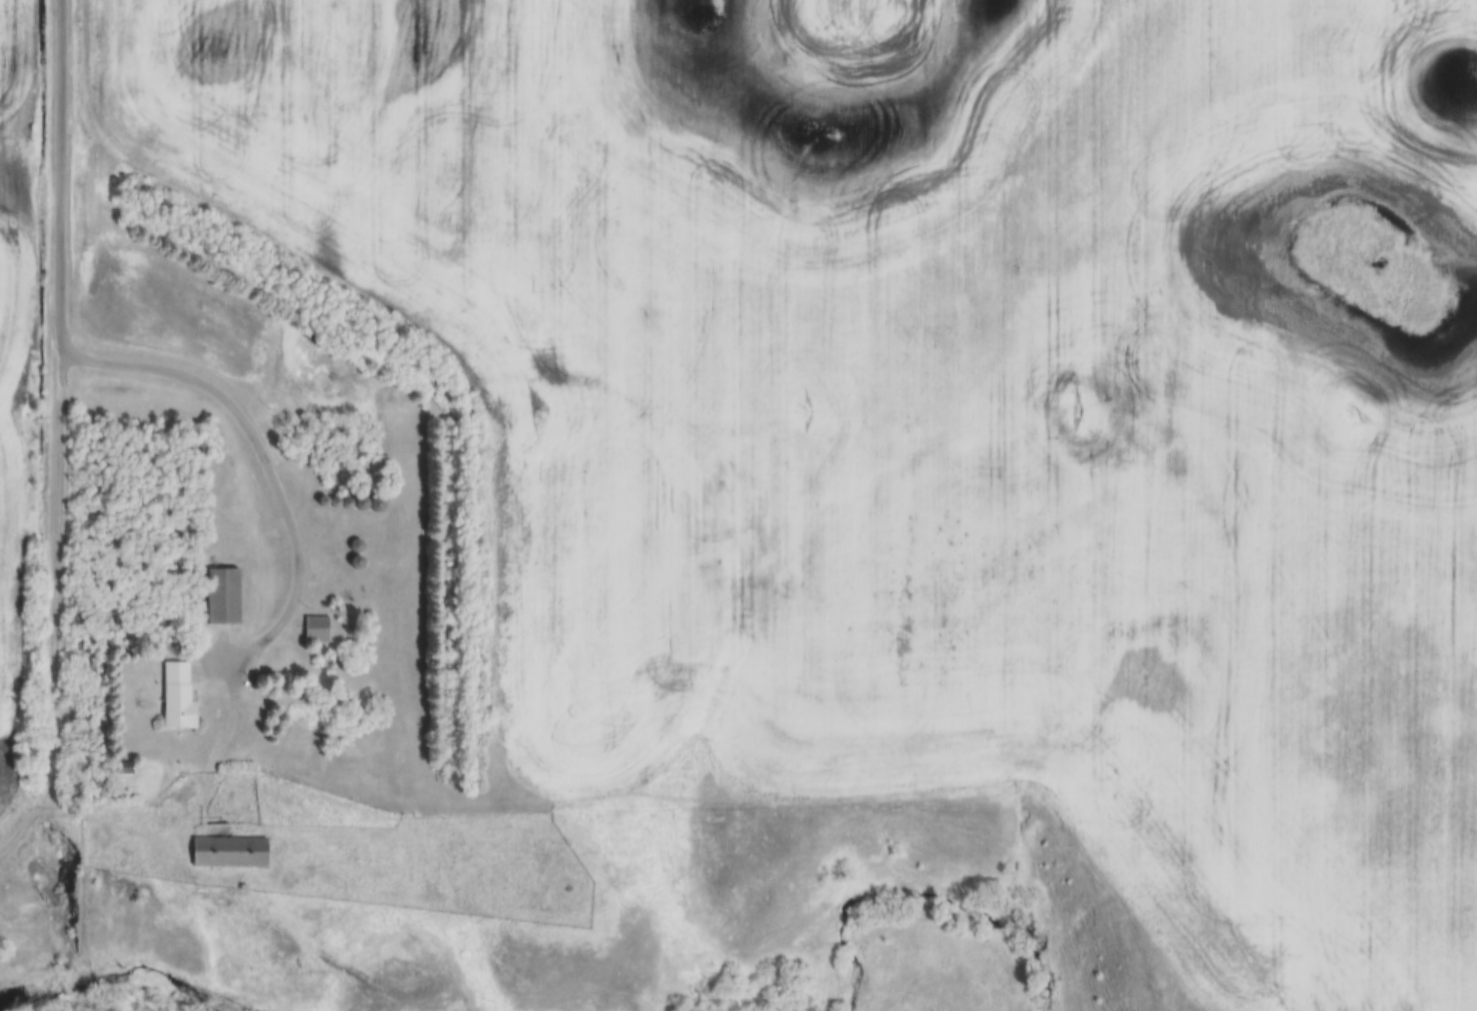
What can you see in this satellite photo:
road: (64, 173)
road: (270, 467)
building: (369, 505)
building: (223, 597)
road: (65, 620)
building: (316, 631)
building: (178, 697)
building: (230, 854)
quarry: (35, 861)

